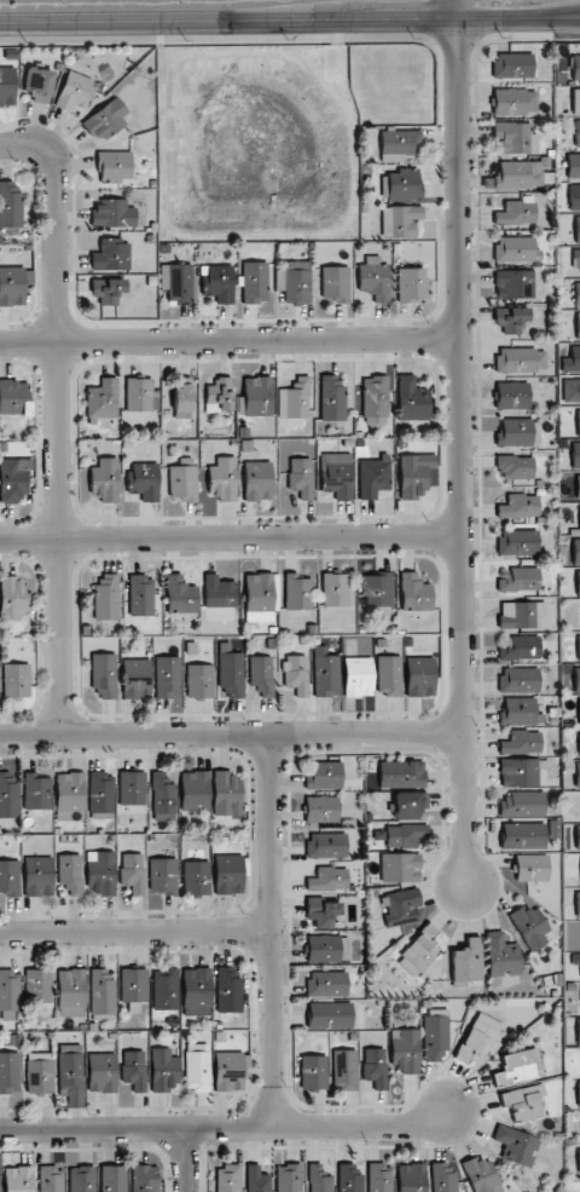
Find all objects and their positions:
road: (453, 10)
road: (516, 19)
road: (226, 21)
building: (512, 65)
building: (575, 68)
building: (37, 85)
building: (7, 86)
building: (74, 91)
building: (575, 100)
building: (515, 102)
building: (105, 120)
building: (576, 133)
building: (515, 138)
building: (399, 144)
road: (27, 145)
building: (114, 166)
building: (573, 166)
building: (518, 174)
building: (401, 184)
building: (574, 197)
building: (10, 206)
building: (516, 213)
building: (112, 214)
building: (399, 220)
building: (576, 230)
building: (516, 249)
building: (111, 255)
building: (576, 260)
building: (373, 280)
building: (217, 282)
building: (255, 282)
building: (295, 282)
building: (176, 283)
building: (412, 284)
building: (514, 284)
building: (12, 286)
building: (335, 286)
building: (108, 289)
building: (576, 294)
building: (510, 318)
building: (578, 326)
road: (227, 339)
building: (521, 359)
building: (572, 361)
building: (570, 391)
building: (140, 395)
building: (219, 396)
building: (257, 396)
building: (512, 396)
building: (13, 397)
building: (182, 397)
building: (331, 397)
building: (103, 399)
building: (295, 399)
building: (375, 399)
building: (411, 399)
building: (578, 422)
building: (517, 433)
road: (58, 440)
road: (456, 453)
building: (575, 455)
building: (515, 467)
building: (336, 474)
building: (413, 474)
building: (372, 476)
building: (301, 477)
building: (12, 478)
building: (222, 478)
building: (104, 479)
building: (259, 480)
building: (182, 482)
building: (578, 486)
building: (518, 506)
building: (579, 522)
road: (227, 537)
building: (517, 542)
building: (575, 552)
building: (520, 580)
building: (578, 582)
building: (376, 588)
building: (336, 589)
building: (219, 592)
building: (297, 592)
building: (413, 593)
building: (140, 595)
building: (180, 595)
building: (105, 597)
building: (259, 597)
building: (12, 599)
building: (522, 615)
building: (518, 647)
building: (578, 647)
building: (103, 674)
building: (261, 674)
building: (296, 674)
building: (231, 675)
building: (419, 675)
building: (167, 676)
building: (358, 676)
building: (389, 676)
building: (137, 678)
building: (518, 679)
building: (16, 680)
building: (576, 680)
building: (199, 681)
building: (579, 710)
building: (518, 712)
road: (230, 735)
building: (521, 742)
building: (579, 744)
building: (401, 772)
building: (518, 772)
building: (576, 774)
building: (324, 776)
building: (36, 791)
building: (100, 791)
building: (132, 791)
building: (195, 791)
building: (8, 794)
building: (162, 794)
building: (226, 794)
building: (69, 796)
building: (408, 805)
building: (522, 805)
building: (321, 810)
building: (404, 835)
building: (523, 835)
building: (578, 836)
building: (326, 845)
building: (400, 868)
building: (532, 868)
building: (101, 871)
building: (70, 873)
building: (132, 873)
building: (228, 874)
building: (37, 876)
building: (162, 876)
building: (10, 877)
building: (196, 877)
building: (329, 880)
building: (578, 904)
building: (400, 908)
building: (324, 912)
building: (529, 926)
road: (134, 927)
road: (269, 929)
building: (327, 949)
building: (419, 951)
building: (501, 956)
building: (575, 958)
building: (466, 962)
building: (327, 984)
building: (39, 985)
building: (133, 987)
building: (164, 989)
building: (228, 990)
building: (196, 991)
building: (72, 992)
building: (8, 995)
building: (101, 995)
building: (329, 1015)
building: (578, 1031)
building: (435, 1035)
building: (478, 1038)
building: (405, 1049)
building: (197, 1067)
building: (375, 1067)
building: (517, 1067)
building: (134, 1070)
building: (164, 1070)
building: (344, 1070)
building: (228, 1071)
building: (10, 1072)
building: (40, 1072)
building: (101, 1072)
building: (313, 1072)
building: (70, 1073)
building: (578, 1093)
building: (523, 1102)
road: (225, 1125)
building: (516, 1145)
road: (186, 1159)
building: (579, 1161)
building: (442, 1175)
building: (481, 1175)
building: (288, 1177)
building: (349, 1177)
building: (378, 1177)
building: (411, 1177)
building: (18, 1179)
building: (51, 1179)
building: (81, 1179)
building: (112, 1179)
building: (144, 1179)
building: (227, 1179)
building: (256, 1179)
building: (319, 1179)

